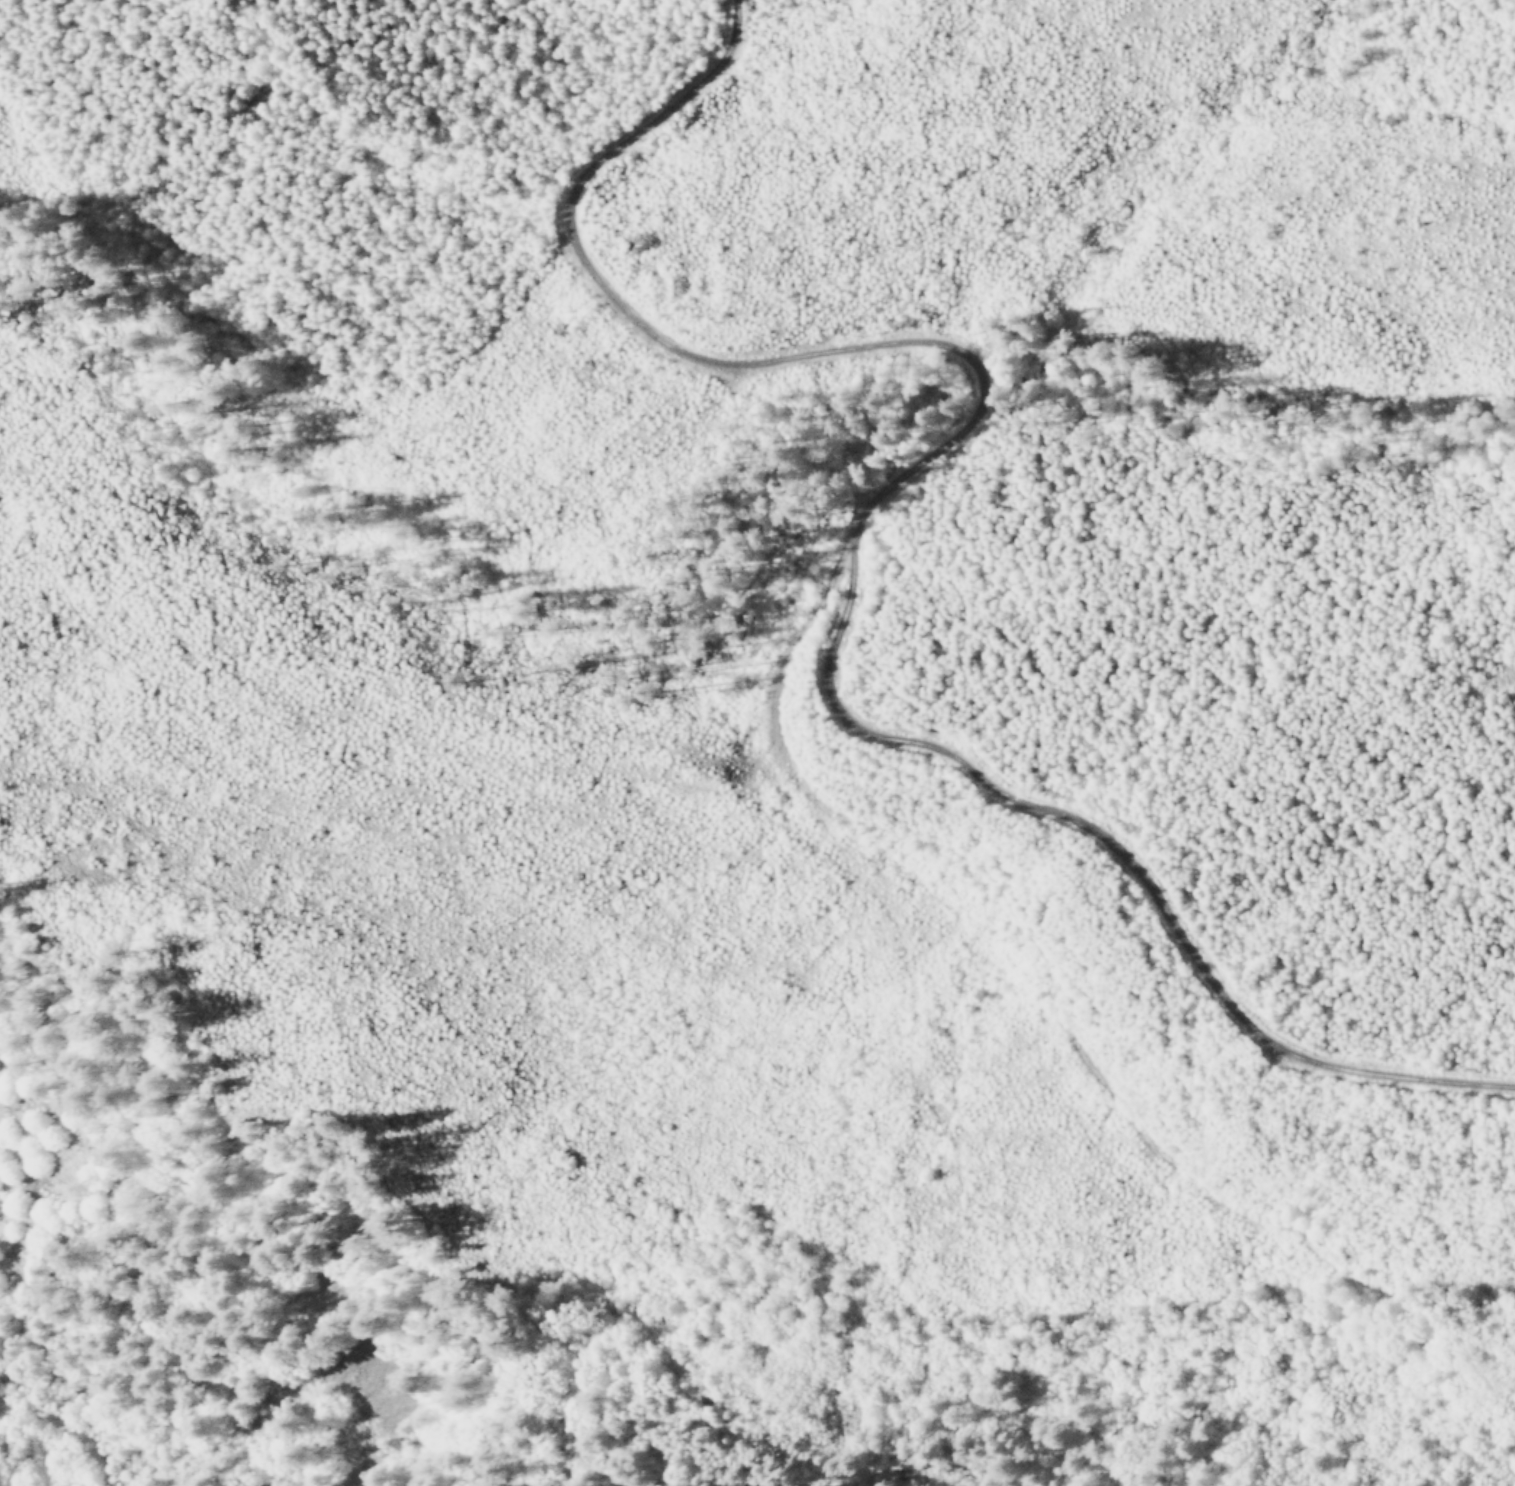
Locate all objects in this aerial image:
road: (840, 634)

